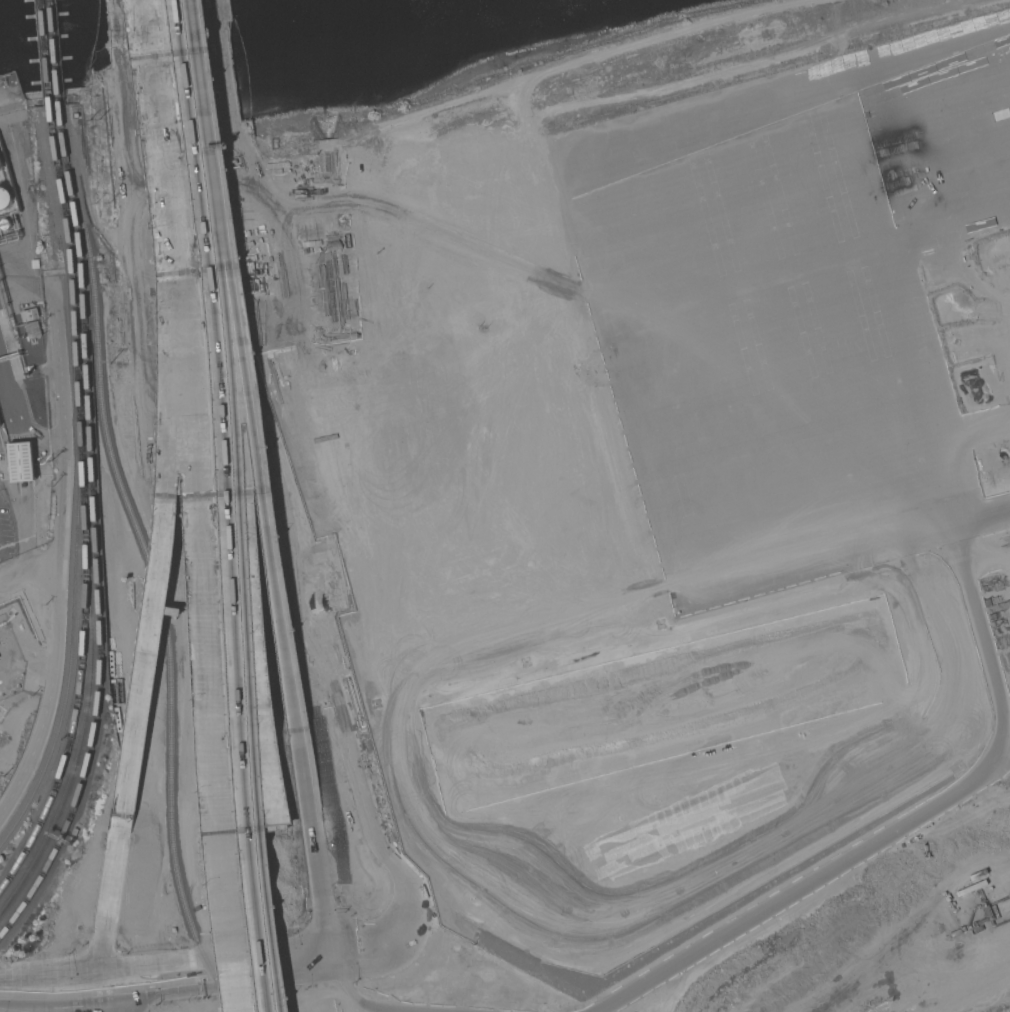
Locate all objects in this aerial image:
railway: (54, 51)
railway: (45, 52)
road: (159, 99)
railway: (59, 129)
road: (205, 135)
building: (0, 162)
building: (4, 198)
building: (32, 329)
building: (614, 337)
railway: (84, 394)
railway: (101, 396)
building: (20, 462)
road: (263, 499)
road: (61, 509)
road: (157, 515)
railway: (86, 519)
railway: (98, 558)
road: (28, 575)
road: (206, 605)
road: (239, 641)
railway: (73, 644)
railway: (75, 725)
road: (24, 770)
railway: (167, 832)
road: (312, 843)
road: (106, 905)
road: (308, 957)
road: (137, 990)
road: (51, 999)

